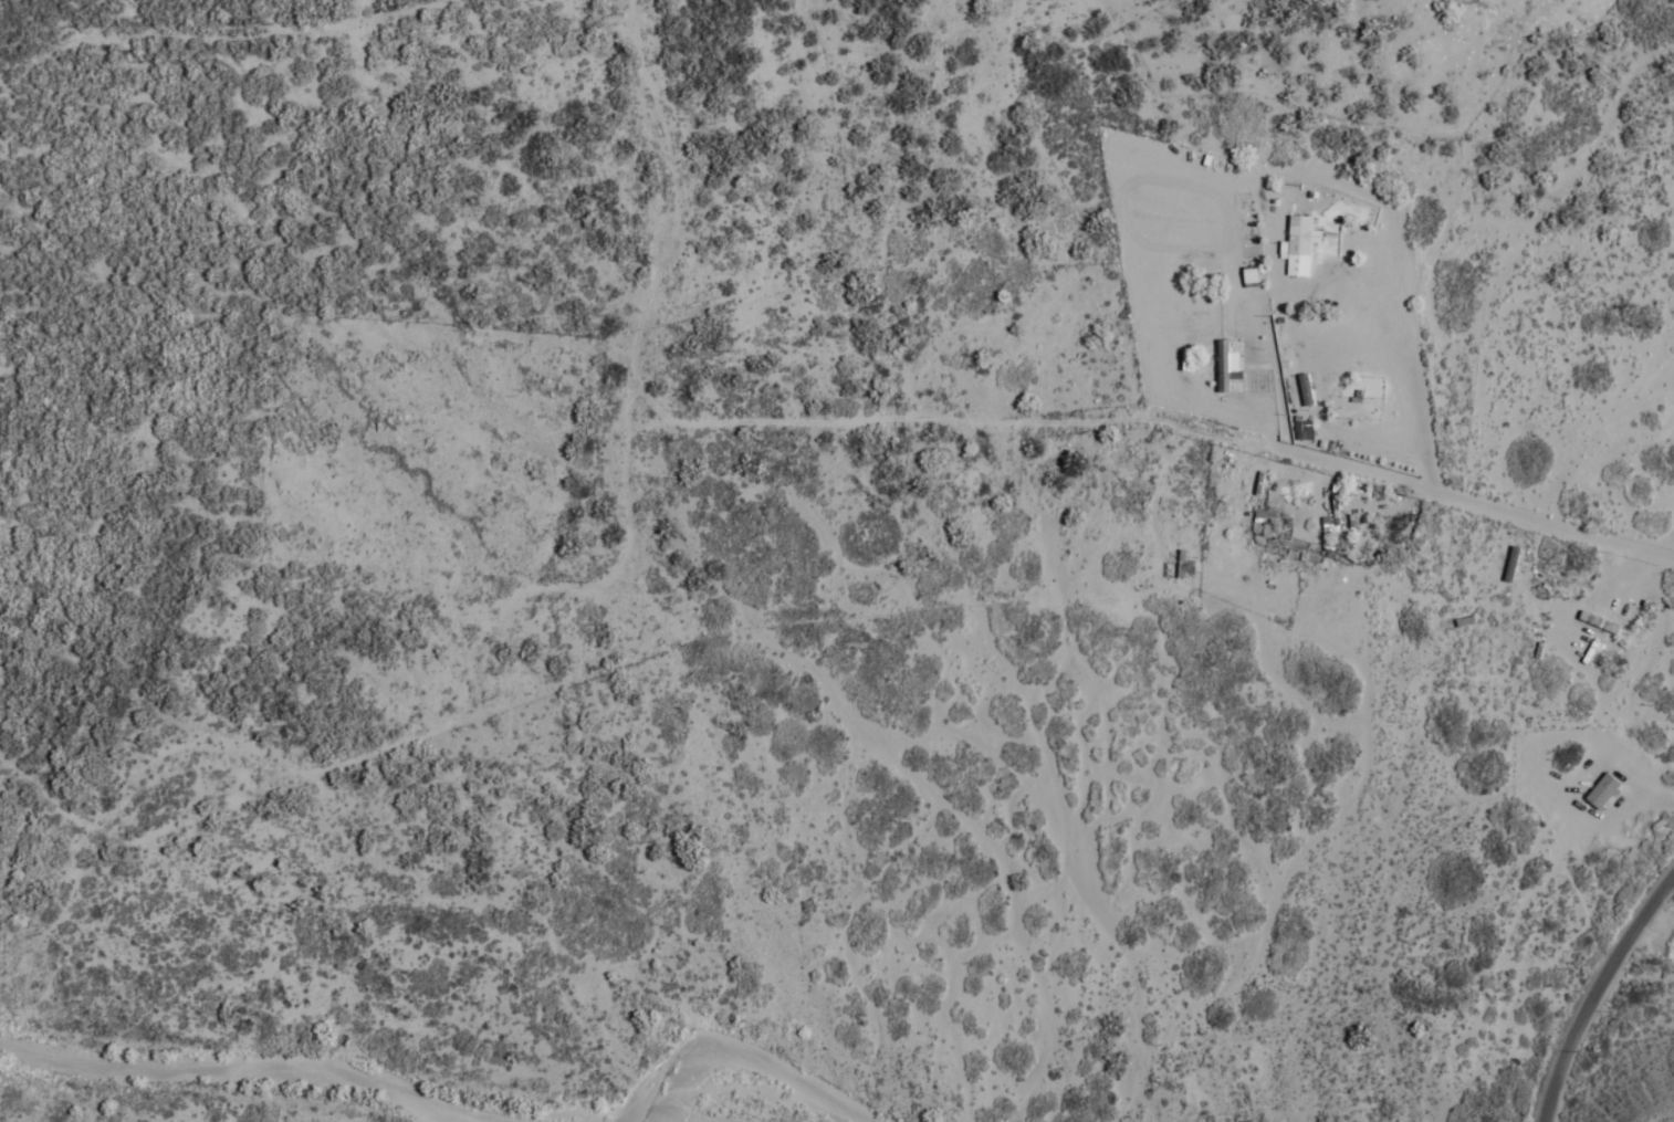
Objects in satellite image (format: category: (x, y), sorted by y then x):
road: (1008, 150)
building: (1297, 248)
building: (1249, 277)
building: (1226, 367)
building: (1302, 432)
building: (1510, 566)
building: (1659, 631)
building: (1602, 794)
road: (1597, 833)
road: (1621, 1005)

